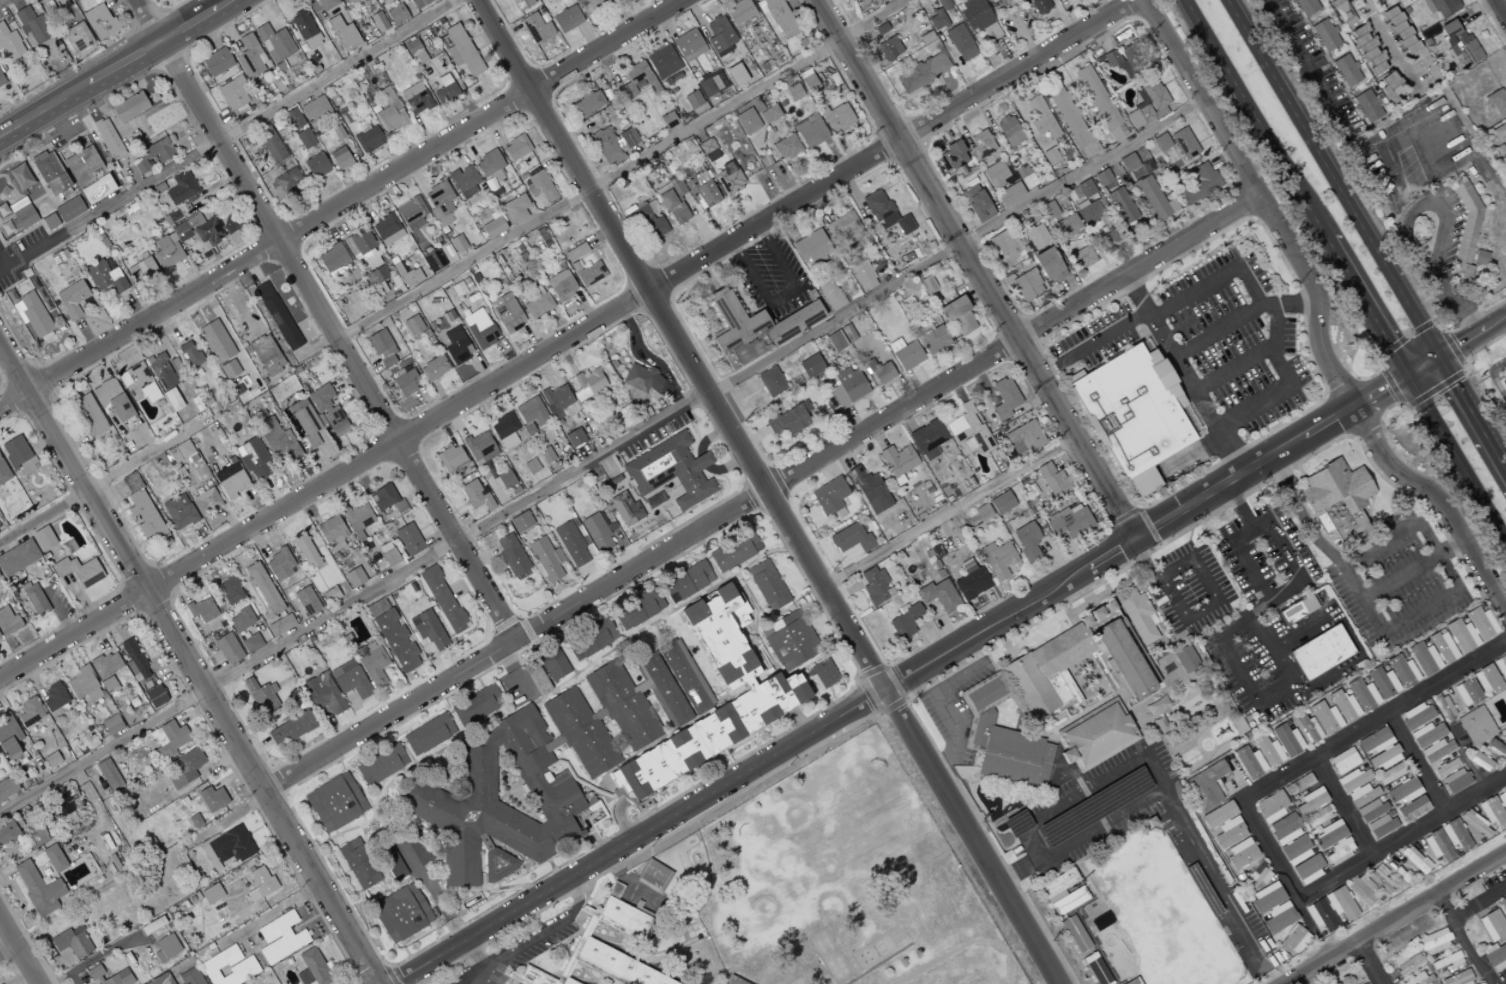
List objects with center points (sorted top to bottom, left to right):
building: (850, 0)
building: (419, 3)
building: (592, 3)
building: (326, 4)
building: (521, 4)
building: (942, 4)
road: (224, 5)
building: (1039, 6)
building: (1440, 6)
building: (1305, 7)
building: (739, 11)
road: (1499, 11)
building: (1342, 12)
building: (396, 14)
building: (776, 17)
building: (977, 17)
building: (566, 19)
building: (100, 21)
building: (379, 22)
building: (937, 22)
building: (32, 26)
road: (187, 26)
building: (537, 27)
building: (1398, 30)
building: (306, 31)
road: (1380, 33)
building: (343, 34)
building: (719, 36)
building: (1324, 36)
building: (75, 38)
building: (960, 42)
building: (1460, 44)
building: (9, 45)
building: (688, 45)
building: (277, 47)
building: (889, 48)
building: (1367, 49)
building: (460, 50)
building: (250, 57)
building: (1127, 57)
building: (663, 61)
road: (1308, 61)
building: (216, 62)
road: (124, 64)
building: (1346, 71)
building: (922, 73)
building: (736, 75)
building: (636, 80)
building: (807, 80)
building: (710, 84)
building: (1389, 84)
building: (445, 90)
building: (793, 92)
building: (233, 94)
building: (415, 98)
building: (692, 100)
building: (1496, 102)
building: (587, 103)
building: (1100, 103)
building: (1148, 104)
building: (1367, 106)
building: (129, 107)
building: (314, 108)
road: (44, 111)
building: (390, 112)
building: (769, 114)
building: (837, 117)
building: (1041, 118)
building: (293, 119)
building: (668, 120)
building: (747, 121)
building: (1071, 121)
road: (1253, 121)
building: (1009, 130)
building: (810, 131)
building: (1499, 131)
road: (228, 137)
building: (107, 138)
building: (305, 138)
building: (626, 138)
building: (368, 139)
building: (270, 143)
building: (1176, 143)
building: (981, 145)
building: (606, 146)
building: (1501, 146)
building: (516, 147)
building: (787, 147)
building: (708, 150)
building: (682, 151)
building: (152, 154)
building: (952, 156)
building: (1050, 156)
building: (340, 158)
building: (1128, 162)
building: (82, 164)
building: (316, 165)
road: (622, 171)
building: (49, 172)
building: (995, 174)
road: (1429, 174)
building: (1025, 176)
building: (1102, 177)
building: (729, 178)
road: (1330, 179)
building: (464, 181)
building: (285, 183)
building: (1199, 183)
building: (539, 185)
building: (1085, 188)
building: (97, 189)
building: (182, 189)
building: (702, 189)
building: (1009, 194)
building: (439, 203)
building: (976, 203)
road: (343, 204)
building: (1122, 206)
building: (674, 207)
building: (515, 208)
building: (69, 209)
building: (1049, 210)
building: (1089, 211)
building: (21, 213)
building: (411, 213)
building: (885, 213)
building: (49, 221)
building: (651, 222)
building: (1067, 226)
building: (385, 228)
building: (491, 228)
building: (843, 228)
building: (1465, 230)
building: (1036, 236)
road: (1406, 238)
building: (1111, 239)
building: (166, 241)
building: (457, 243)
building: (1005, 244)
building: (360, 245)
building: (811, 247)
building: (575, 252)
building: (1081, 257)
building: (1480, 257)
building: (333, 258)
road: (775, 258)
building: (433, 260)
building: (1050, 265)
building: (142, 270)
road: (977, 270)
building: (588, 273)
road: (750, 273)
building: (407, 275)
building: (376, 276)
building: (863, 276)
building: (105, 277)
building: (561, 285)
building: (1027, 285)
road: (1249, 285)
building: (831, 295)
road: (781, 296)
building: (71, 298)
road: (1289, 301)
building: (538, 305)
road: (1366, 310)
building: (507, 313)
building: (32, 314)
road: (1317, 314)
building: (277, 315)
building: (958, 315)
road: (325, 319)
building: (412, 325)
building: (479, 328)
building: (755, 328)
building: (847, 333)
building: (933, 338)
road: (570, 339)
building: (216, 341)
building: (835, 341)
road: (1093, 344)
parking lot: (1227, 344)
building: (456, 345)
building: (382, 348)
building: (905, 354)
building: (190, 355)
building: (266, 355)
traffic signals: (1437, 358)
building: (811, 366)
building: (432, 367)
building: (229, 369)
road: (1231, 369)
building: (164, 370)
building: (882, 373)
road: (1186, 378)
road: (1491, 378)
traffic signals: (1408, 379)
building: (641, 380)
building: (405, 382)
building: (771, 382)
building: (138, 383)
building: (588, 383)
road: (1291, 384)
building: (847, 386)
building: (1004, 398)
building: (112, 399)
building: (172, 399)
building: (556, 400)
building: (531, 412)
building: (89, 414)
building: (1133, 414)
road: (1471, 416)
building: (788, 420)
building: (305, 424)
building: (504, 430)
building: (968, 430)
building: (574, 438)
building: (1023, 438)
building: (927, 439)
building: (277, 441)
building: (479, 446)
building: (15, 451)
building: (181, 452)
building: (545, 455)
road: (602, 455)
building: (253, 458)
building: (452, 460)
building: (897, 460)
road: (1458, 461)
building: (531, 466)
building: (671, 471)
building: (3, 472)
road: (104, 479)
building: (505, 479)
building: (230, 480)
building: (1052, 480)
building: (869, 490)
road: (761, 491)
road: (767, 491)
building: (476, 495)
building: (829, 496)
building: (382, 497)
building: (654, 500)
building: (1004, 501)
building: (206, 502)
building: (626, 509)
building: (143, 510)
building: (179, 511)
road: (948, 511)
road: (1238, 511)
building: (982, 512)
building: (358, 519)
building: (521, 521)
building: (1069, 521)
building: (332, 533)
building: (597, 533)
building: (43, 538)
building: (408, 539)
building: (851, 539)
building: (1026, 540)
building: (571, 544)
building: (68, 546)
building: (306, 552)
building: (734, 552)
building: (388, 554)
building: (17, 557)
building: (512, 557)
building: (545, 559)
building: (998, 560)
building: (279, 564)
road: (1143, 565)
road: (1415, 569)
building: (79, 570)
building: (354, 577)
building: (971, 580)
building: (687, 581)
building: (767, 585)
building: (875, 586)
building: (264, 588)
building: (229, 590)
road: (1284, 591)
road: (1214, 593)
building: (939, 595)
building: (34, 598)
building: (442, 599)
building: (306, 601)
building: (202, 609)
road: (1257, 609)
building: (638, 610)
building: (1297, 610)
building: (1137, 616)
building: (241, 619)
building: (904, 621)
building: (8, 622)
road: (1403, 623)
building: (280, 625)
building: (428, 629)
building: (1471, 629)
road: (1348, 634)
building: (392, 636)
building: (0, 637)
road: (1260, 637)
building: (790, 639)
building: (591, 640)
building: (251, 643)
building: (1443, 647)
building: (228, 648)
road: (949, 649)
building: (1320, 652)
building: (1045, 658)
building: (1185, 659)
building: (1424, 659)
building: (134, 660)
building: (106, 664)
road: (189, 664)
building: (373, 664)
building: (553, 664)
building: (1501, 667)
road: (513, 672)
building: (1402, 672)
building: (824, 673)
building: (685, 676)
building: (350, 679)
building: (1487, 679)
building: (1382, 682)
building: (108, 684)
building: (83, 685)
road: (1248, 685)
building: (775, 688)
building: (664, 689)
building: (1466, 692)
building: (322, 693)
building: (261, 695)
road: (905, 695)
building: (1362, 695)
building: (54, 696)
building: (155, 696)
road: (866, 696)
road: (946, 701)
building: (1343, 706)
building: (1444, 707)
building: (29, 712)
building: (1417, 715)
building: (1325, 718)
building: (111, 724)
road: (1366, 724)
building: (1475, 725)
building: (291, 728)
building: (1309, 728)
building: (428, 734)
building: (1426, 734)
building: (1504, 735)
building: (9, 736)
building: (1096, 737)
building: (168, 739)
building: (1003, 740)
building: (1374, 740)
building: (1287, 741)
building: (1496, 748)
building: (1268, 752)
building: (1384, 758)
building: (1343, 761)
road: (1416, 761)
building: (1431, 761)
building: (1480, 761)
building: (1249, 763)
building: (381, 765)
building: (184, 768)
building: (1390, 774)
building: (108, 775)
building: (526, 779)
building: (1353, 779)
building: (1455, 781)
building: (1298, 784)
building: (1204, 786)
building: (7, 787)
building: (1403, 791)
building: (1361, 795)
building: (212, 798)
building: (1502, 800)
building: (1310, 801)
building: (335, 802)
road: (1170, 806)
road: (1343, 806)
building: (1271, 807)
building: (1412, 807)
building: (1371, 810)
building: (1492, 812)
building: (1218, 815)
building: (1316, 817)
building: (1017, 824)
building: (1475, 824)
building: (1381, 825)
building: (1284, 829)
building: (8, 832)
building: (1230, 832)
building: (1329, 834)
building: (1455, 836)
road: (1400, 837)
road: (647, 845)
building: (227, 846)
building: (1437, 846)
building: (1295, 850)
building: (1340, 851)
building: (1240, 854)
building: (54, 858)
building: (1415, 860)
building: (357, 864)
road: (1277, 865)
building: (1308, 869)
building: (655, 875)
building: (1257, 876)
building: (1379, 879)
park: (845, 881)
building: (260, 883)
building: (38, 888)
building: (615, 890)
building: (1362, 891)
building: (1062, 892)
building: (211, 894)
building: (1267, 897)
road: (1491, 898)
building: (1340, 903)
building: (1503, 904)
road: (1420, 905)
road: (276, 910)
building: (401, 913)
building: (1320, 915)
building: (1279, 917)
building: (628, 918)
building: (1100, 921)
building: (1492, 925)
road: (545, 932)
building: (1075, 934)
building: (280, 937)
road: (1468, 938)
building: (1294, 940)
building: (72, 942)
building: (1433, 942)
building: (167, 946)
building: (577, 946)
road: (7, 949)
building: (701, 950)
road: (18, 952)
road: (476, 953)
building: (1494, 956)
building: (684, 958)
road: (93, 959)
building: (1446, 961)
road: (1370, 962)
building: (620, 964)
building: (1409, 964)
track: (965, 965)
building: (245, 966)
building: (312, 968)
building: (1096, 969)
road: (1312, 970)
road: (389, 974)
road: (479, 974)
road: (710, 974)
building: (110, 976)
building: (190, 976)
building: (530, 976)
building: (1457, 978)
building: (161, 979)
parking lot: (455, 979)
road: (462, 979)
building: (1422, 979)
building: (734, 980)
building: (568, 981)
building: (1132, 981)
building: (513, 983)
building: (1363, 983)

